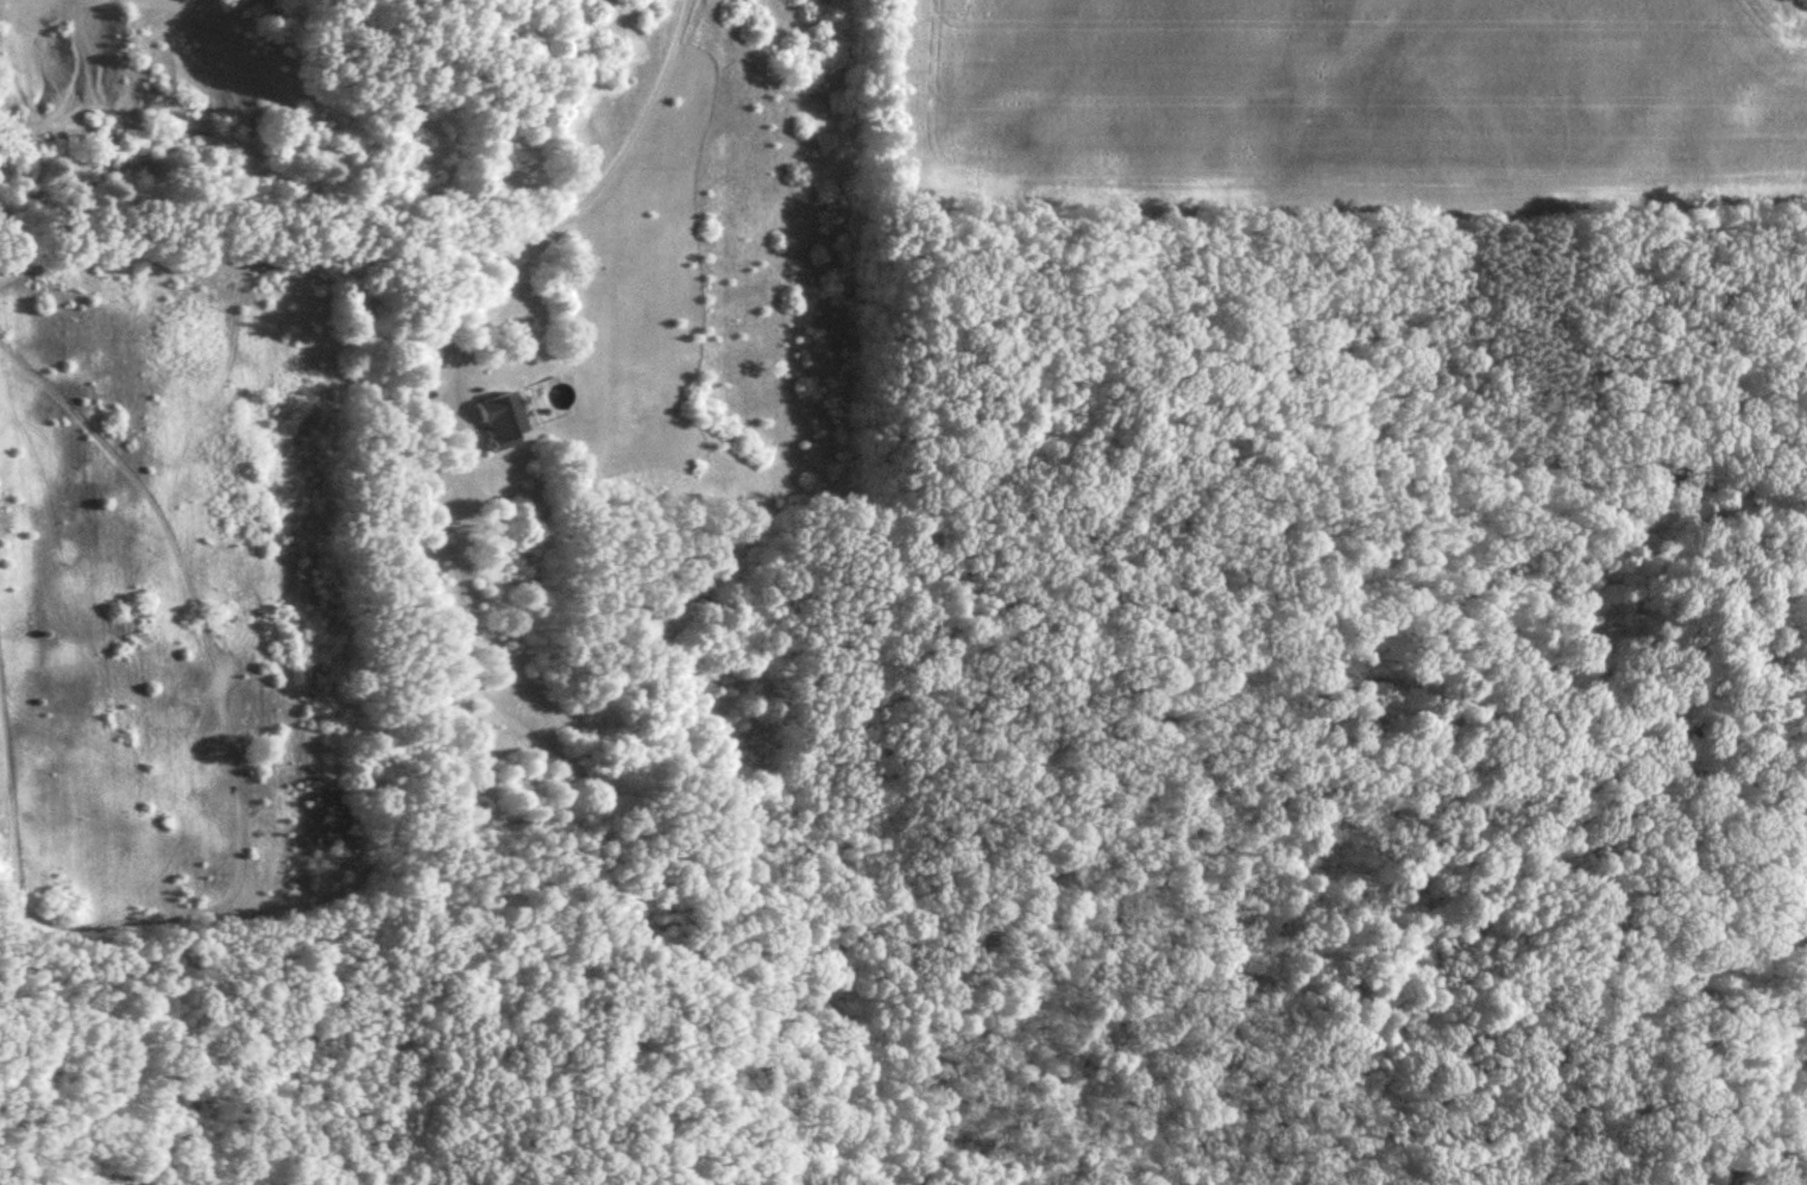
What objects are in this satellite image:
road: (581, 202)
building: (498, 420)

